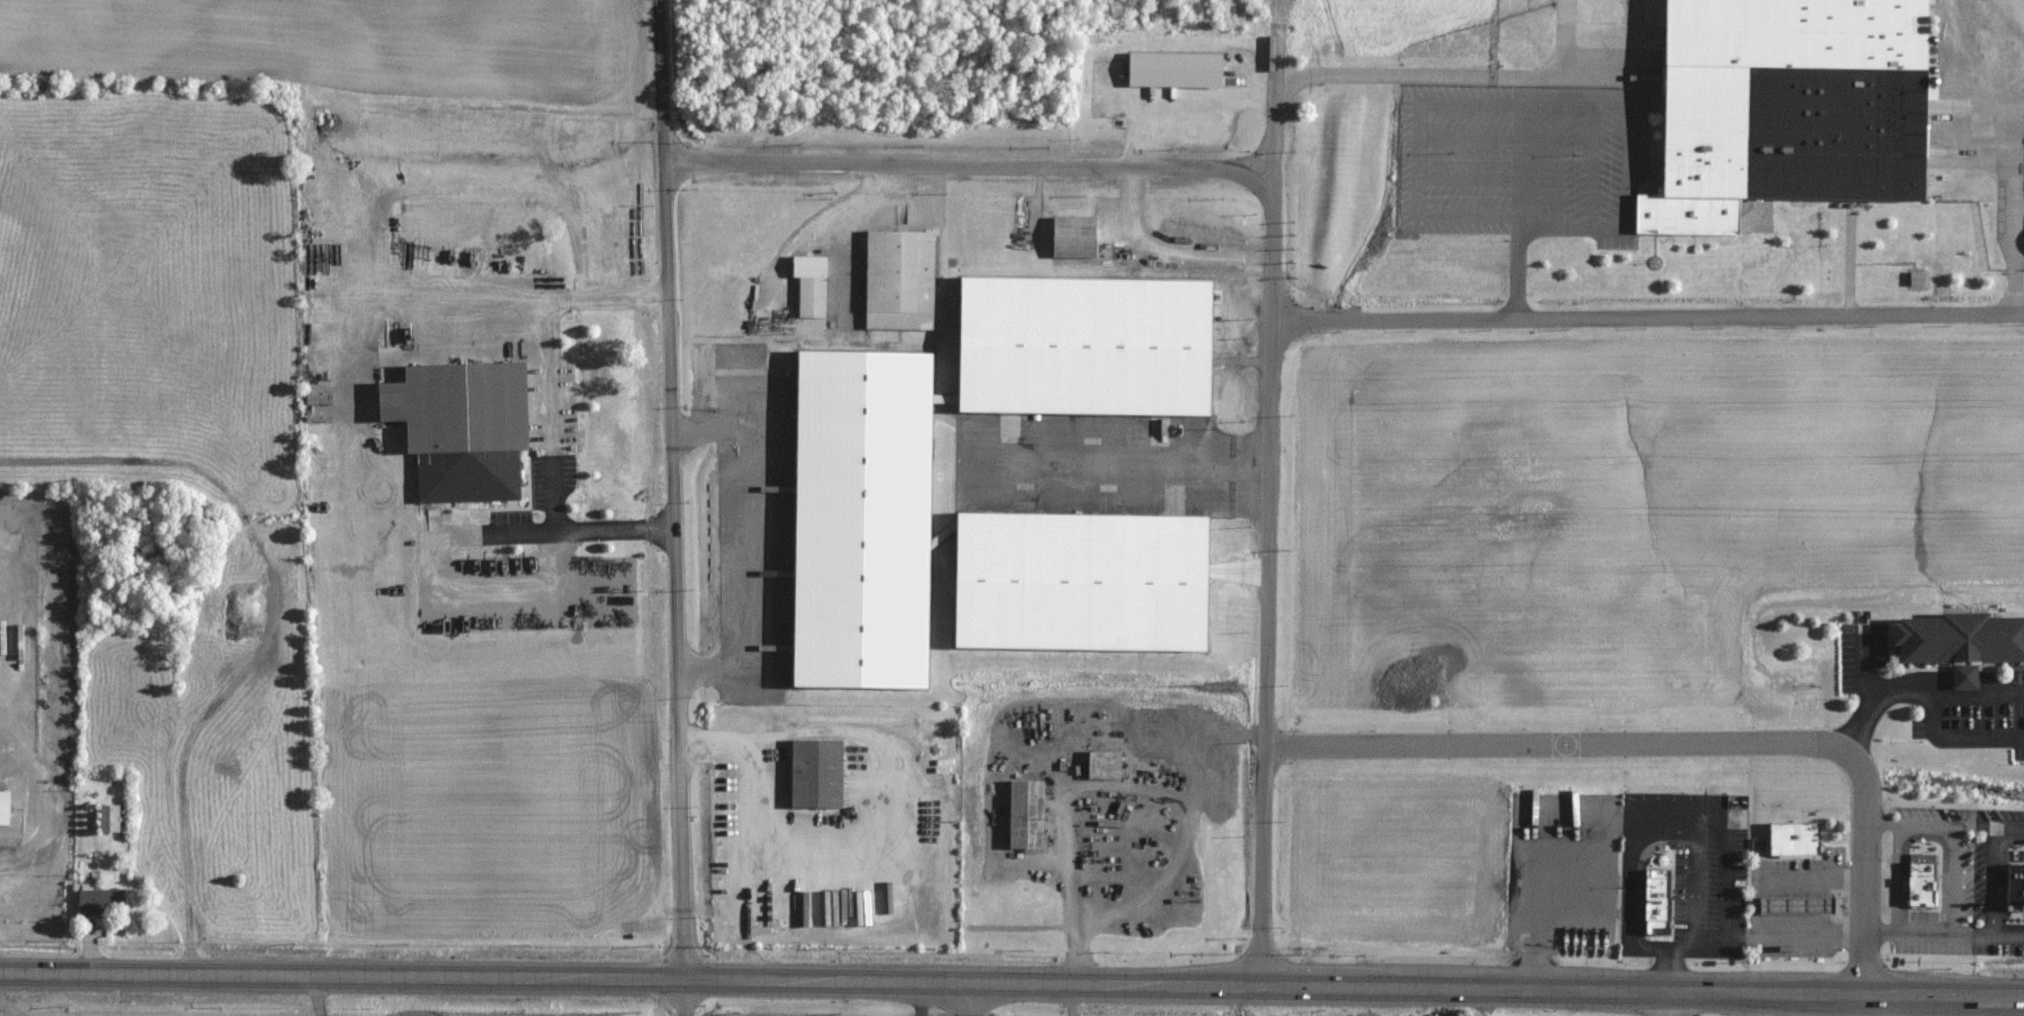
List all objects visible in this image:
road: (1563, 54)
road: (1627, 63)
building: (1172, 69)
road: (1520, 77)
building: (1784, 106)
road: (1468, 140)
road: (2004, 150)
road: (1416, 156)
road: (971, 163)
road: (1467, 179)
building: (1071, 238)
road: (1167, 251)
building: (898, 280)
building: (809, 283)
road: (611, 296)
road: (1648, 317)
building: (459, 426)
road: (1124, 458)
building: (859, 462)
road: (1271, 503)
road: (677, 507)
road: (738, 545)
road: (9, 551)
road: (553, 568)
road: (269, 624)
building: (1957, 637)
road: (1915, 686)
road: (1857, 723)
road: (1953, 741)
road: (1694, 743)
road: (1069, 760)
building: (1102, 764)
building: (813, 772)
road: (59, 792)
building: (3, 807)
building: (1023, 813)
building: (107, 816)
road: (1704, 822)
road: (1945, 823)
building: (1792, 837)
road: (1897, 875)
road: (1953, 877)
road: (1990, 878)
building: (1920, 879)
building: (2014, 885)
building: (1656, 899)
building: (100, 901)
road: (1752, 904)
road: (1944, 930)
road: (1012, 980)
road: (959, 998)
road: (1662, 1003)

